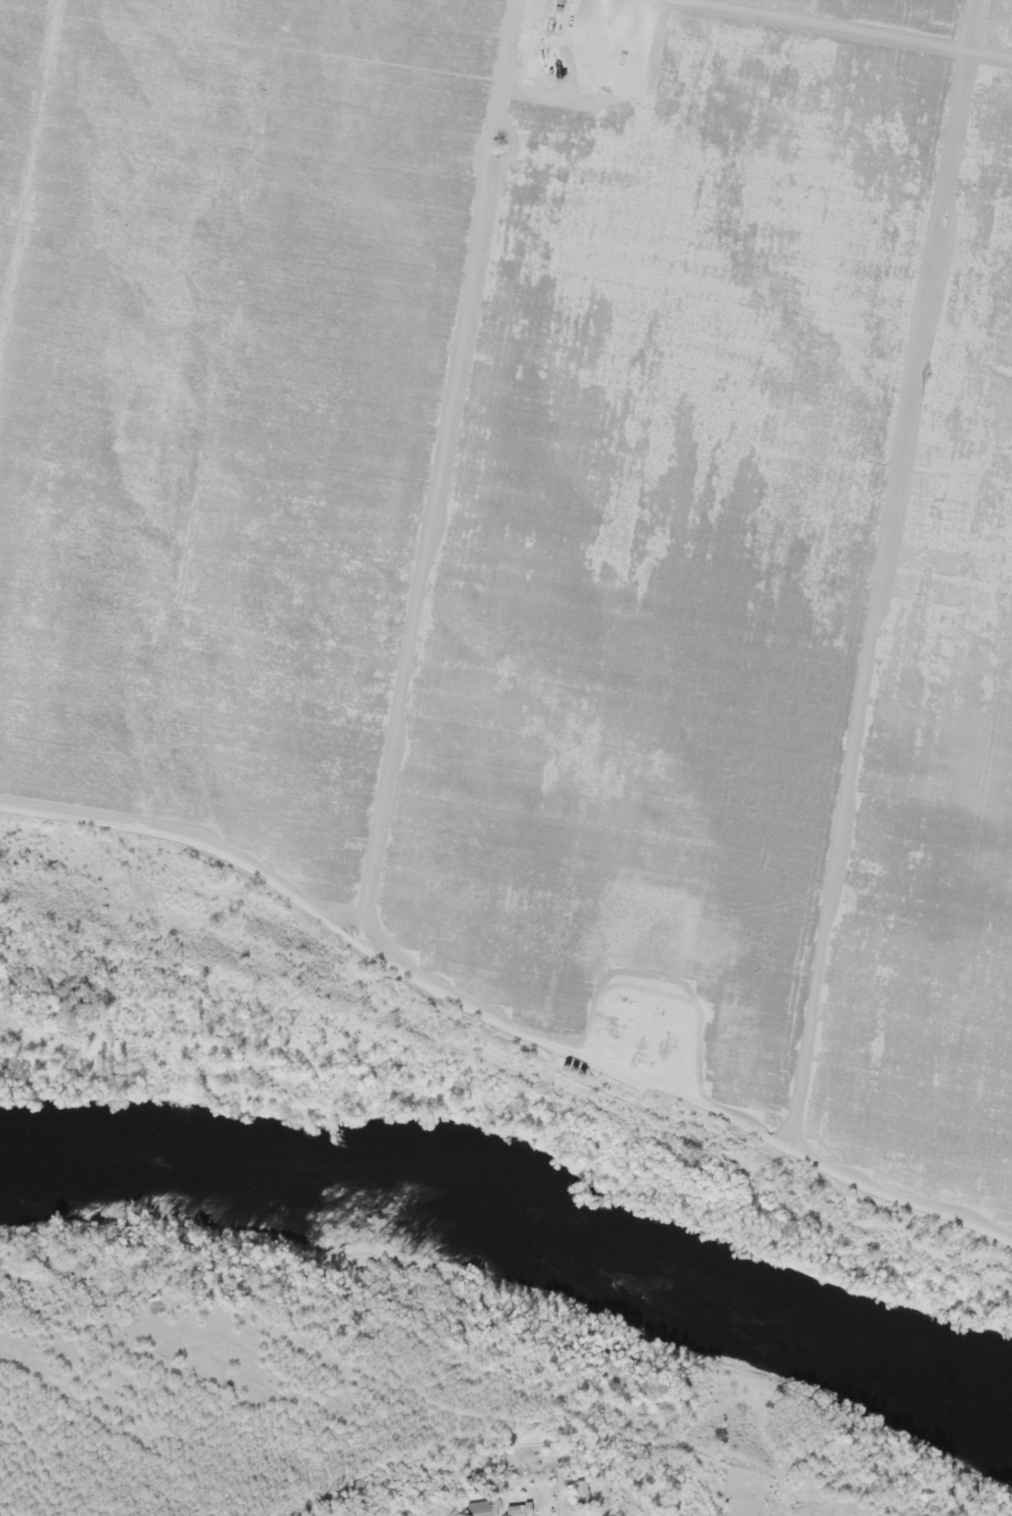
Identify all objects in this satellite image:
road: (972, 25)
road: (853, 28)
road: (434, 450)
road: (879, 599)
road: (500, 1025)
river: (517, 1241)
road: (563, 1499)
building: (482, 1504)

